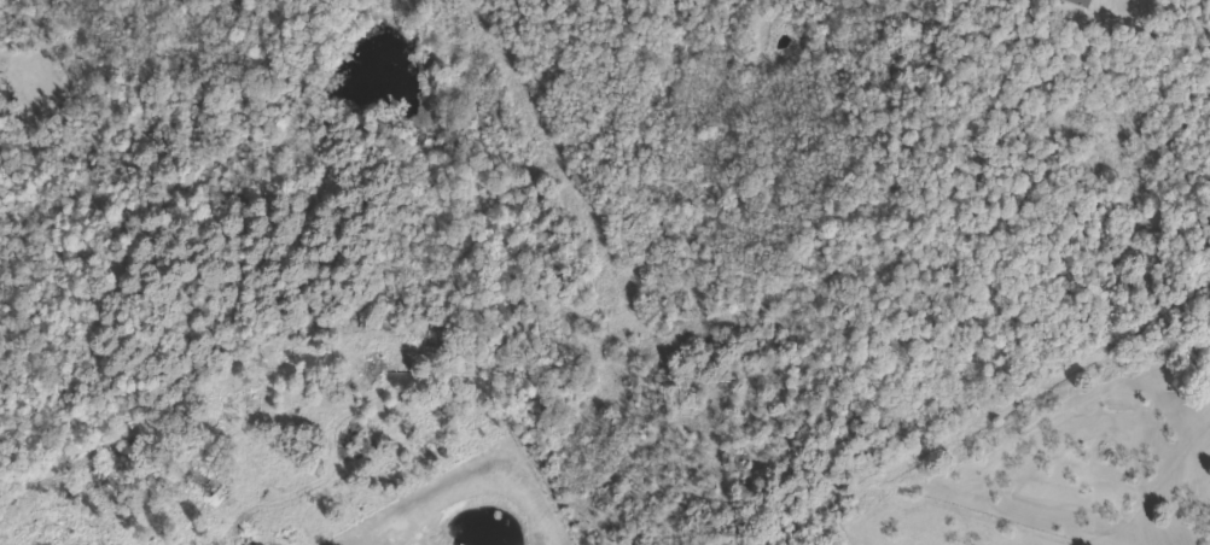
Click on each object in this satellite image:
building: (1083, 2)
road: (984, 414)

